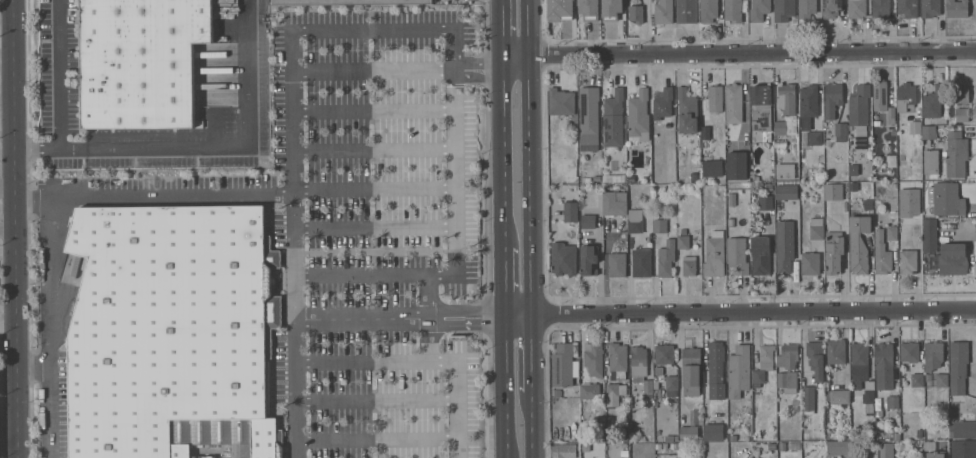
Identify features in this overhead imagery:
building: (344, 2)
building: (612, 7)
building: (807, 8)
building: (831, 8)
building: (856, 8)
building: (880, 8)
building: (908, 8)
building: (930, 8)
building: (957, 8)
building: (558, 9)
building: (590, 10)
building: (708, 10)
building: (733, 10)
building: (759, 10)
building: (784, 10)
building: (686, 11)
building: (663, 12)
building: (636, 13)
road: (6, 22)
road: (331, 30)
road: (502, 34)
road: (737, 53)
building: (141, 61)
road: (373, 69)
road: (478, 69)
road: (59, 75)
building: (715, 98)
building: (832, 99)
building: (882, 99)
building: (906, 100)
building: (808, 101)
building: (933, 101)
building: (961, 101)
building: (734, 103)
building: (561, 104)
building: (663, 105)
building: (860, 109)
road: (373, 110)
building: (761, 110)
building: (786, 110)
building: (687, 111)
building: (589, 114)
building: (639, 115)
building: (614, 118)
building: (943, 121)
building: (804, 123)
building: (876, 123)
building: (915, 127)
building: (840, 129)
building: (929, 132)
building: (706, 133)
building: (816, 138)
road: (226, 148)
road: (374, 149)
road: (37, 150)
building: (956, 153)
road: (527, 157)
road: (503, 158)
building: (931, 159)
building: (697, 165)
building: (737, 165)
building: (712, 168)
building: (785, 170)
building: (694, 176)
building: (614, 178)
building: (756, 178)
building: (768, 186)
building: (853, 186)
road: (7, 188)
road: (375, 189)
building: (834, 191)
building: (787, 192)
building: (732, 199)
building: (946, 199)
road: (35, 200)
building: (766, 202)
building: (614, 203)
building: (868, 204)
road: (55, 206)
building: (571, 212)
road: (294, 219)
building: (588, 221)
building: (635, 221)
building: (731, 222)
parking lot: (383, 224)
building: (660, 226)
road: (15, 228)
road: (375, 228)
building: (817, 228)
building: (915, 229)
road: (7, 231)
building: (684, 231)
building: (892, 233)
building: (930, 234)
building: (683, 241)
building: (859, 244)
building: (784, 246)
building: (834, 251)
building: (882, 253)
building: (737, 255)
building: (761, 255)
building: (714, 256)
building: (564, 258)
building: (666, 258)
building: (589, 259)
building: (953, 259)
road: (295, 260)
building: (908, 261)
building: (642, 263)
building: (810, 263)
building: (617, 265)
building: (689, 265)
road: (457, 271)
road: (505, 281)
road: (295, 294)
road: (435, 295)
road: (469, 308)
road: (740, 313)
road: (365, 318)
road: (470, 324)
building: (172, 331)
building: (909, 351)
building: (836, 352)
road: (530, 353)
building: (664, 354)
building: (933, 355)
building: (788, 356)
building: (594, 359)
building: (816, 359)
building: (618, 360)
building: (638, 361)
road: (366, 362)
building: (763, 364)
building: (564, 366)
building: (860, 366)
building: (884, 366)
building: (958, 366)
road: (36, 367)
building: (691, 370)
building: (715, 371)
building: (739, 371)
road: (458, 376)
building: (917, 380)
building: (936, 380)
building: (787, 381)
building: (655, 385)
road: (297, 386)
road: (506, 386)
building: (672, 386)
building: (648, 388)
building: (590, 391)
building: (557, 392)
building: (614, 393)
building: (808, 397)
building: (839, 397)
building: (869, 397)
road: (377, 400)
building: (796, 402)
building: (893, 402)
building: (601, 408)
building: (952, 412)
building: (885, 413)
road: (531, 425)
building: (691, 427)
building: (963, 429)
building: (714, 432)
building: (896, 436)
building: (624, 437)
building: (733, 437)
building: (669, 438)
road: (378, 440)
building: (658, 445)
building: (664, 445)
building: (673, 445)
building: (795, 446)
building: (586, 447)
building: (838, 448)
building: (963, 449)
building: (886, 450)
building: (564, 451)
building: (624, 453)
building: (936, 454)

